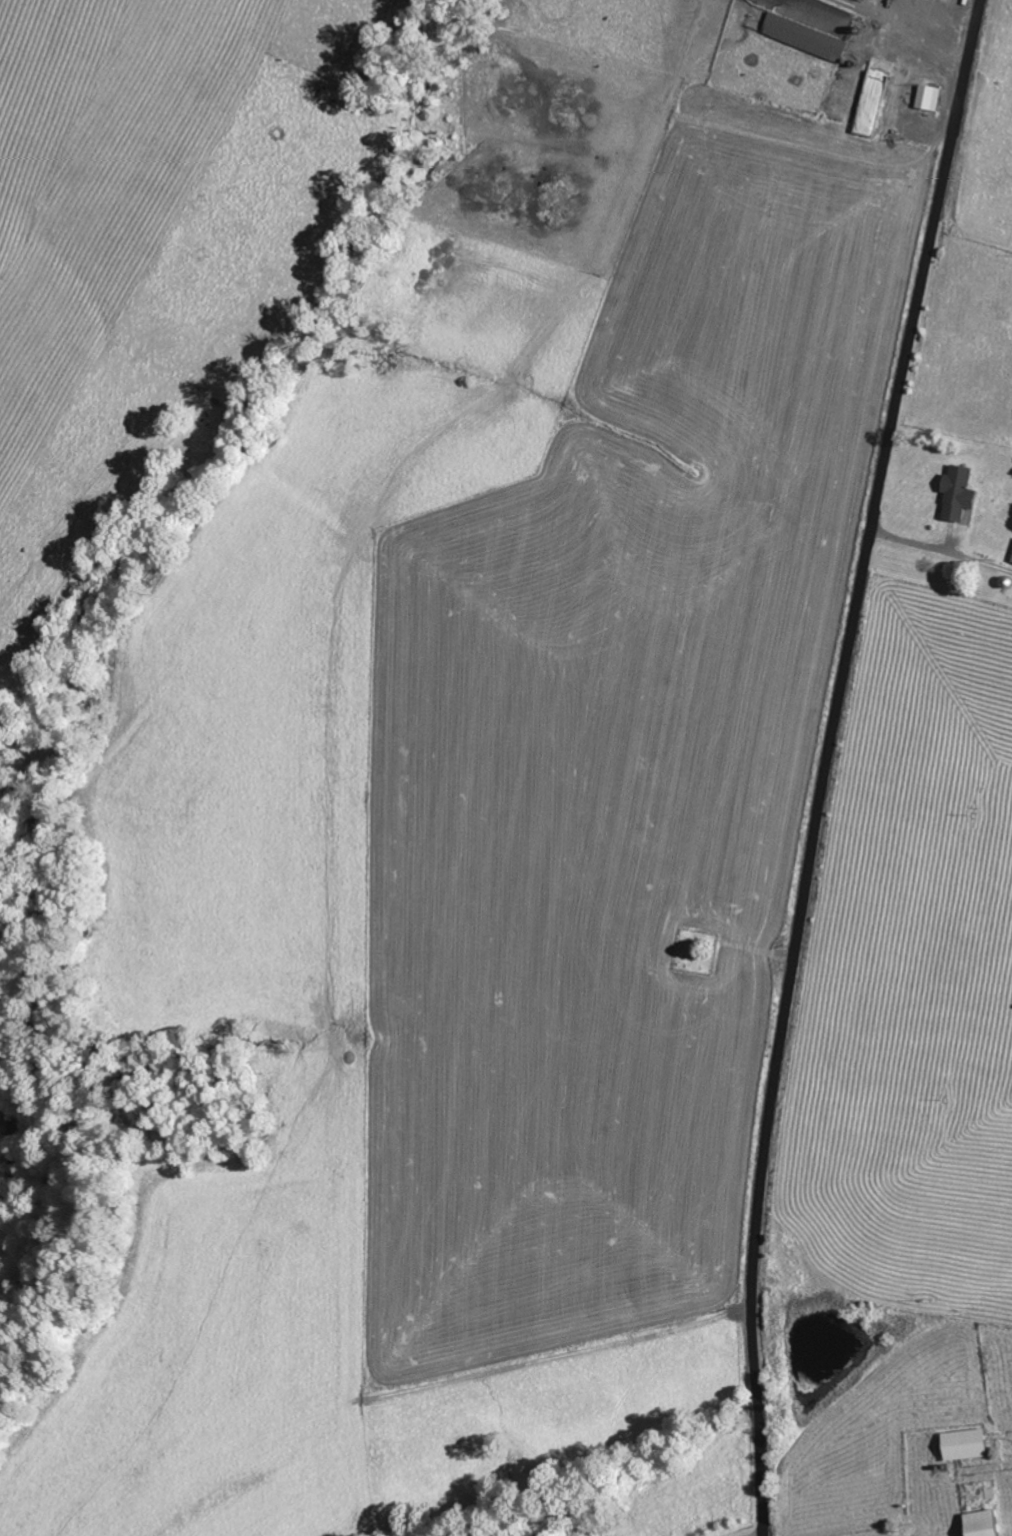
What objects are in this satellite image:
building: (805, 38)
building: (929, 98)
building: (960, 493)
road: (825, 763)
building: (968, 1445)
building: (986, 1523)

